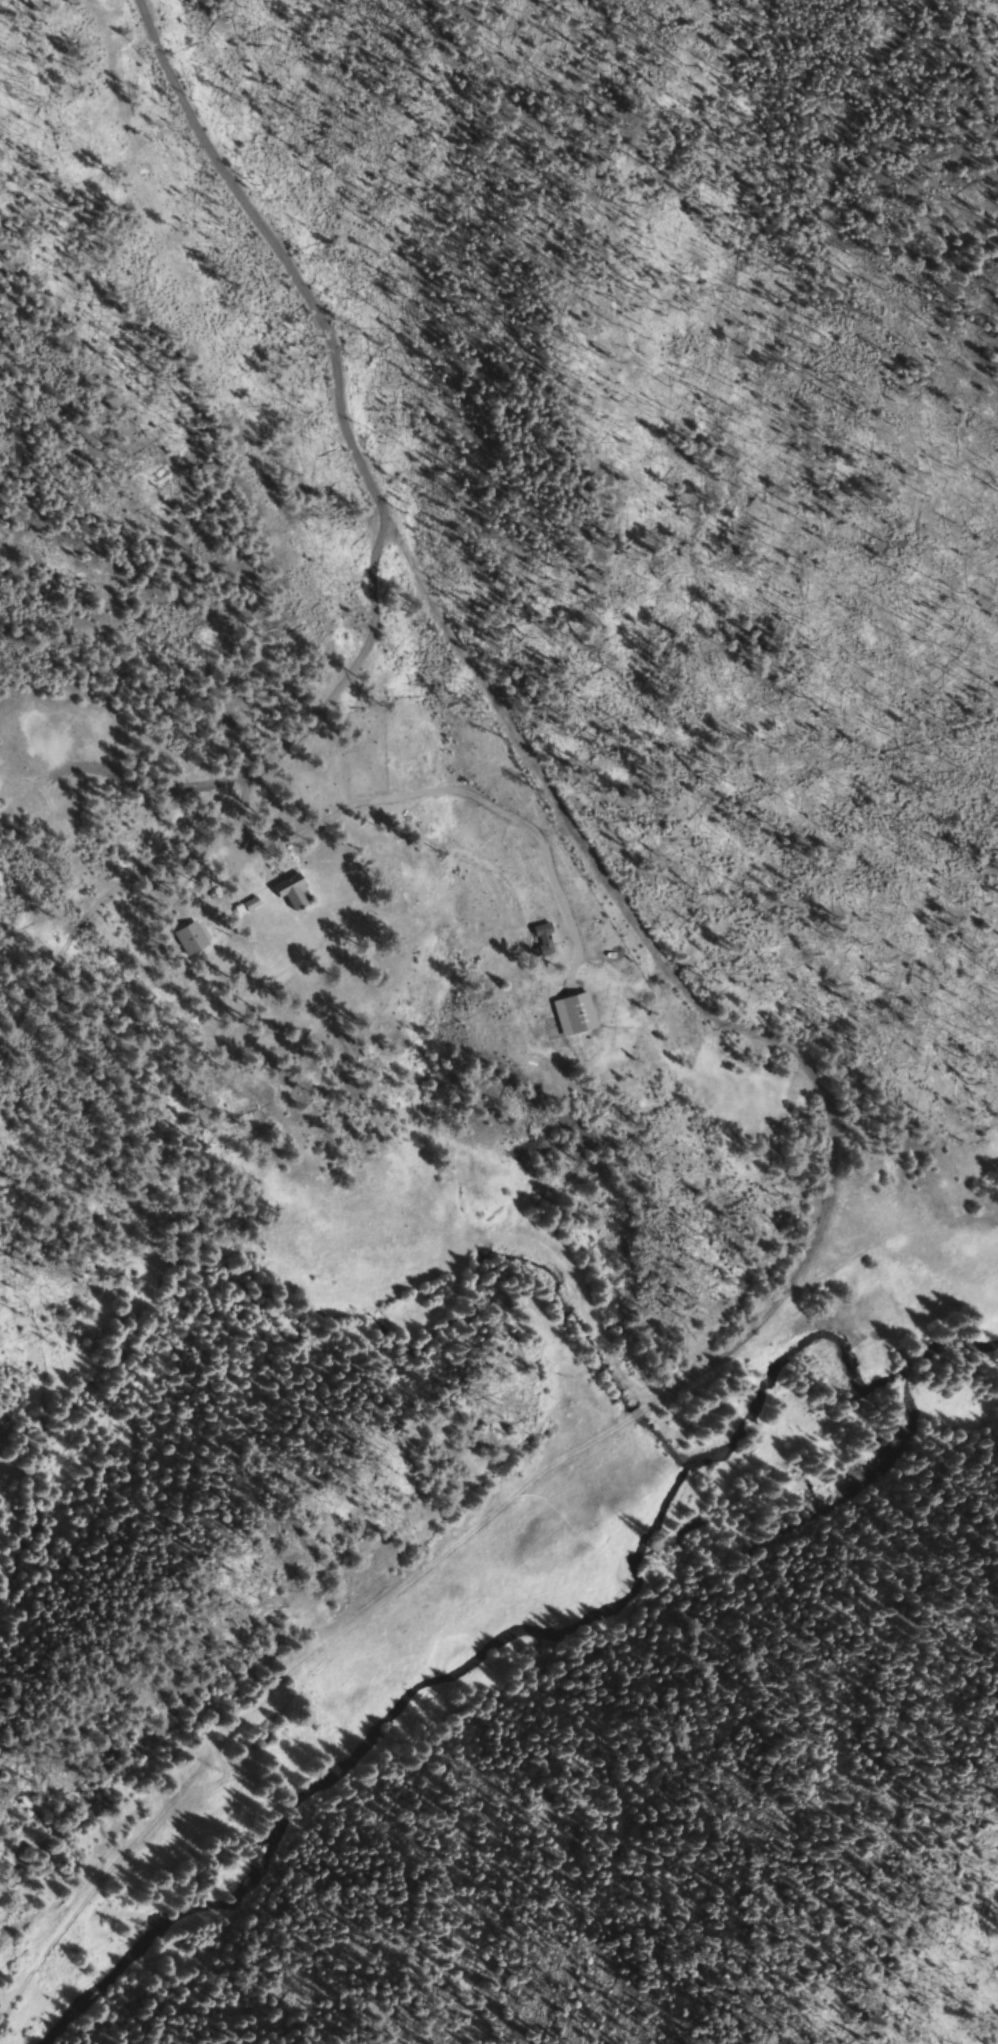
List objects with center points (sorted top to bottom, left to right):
road: (270, 242)
road: (337, 687)
building: (289, 891)
building: (188, 938)
building: (541, 940)
building: (585, 1040)
river: (530, 1629)

